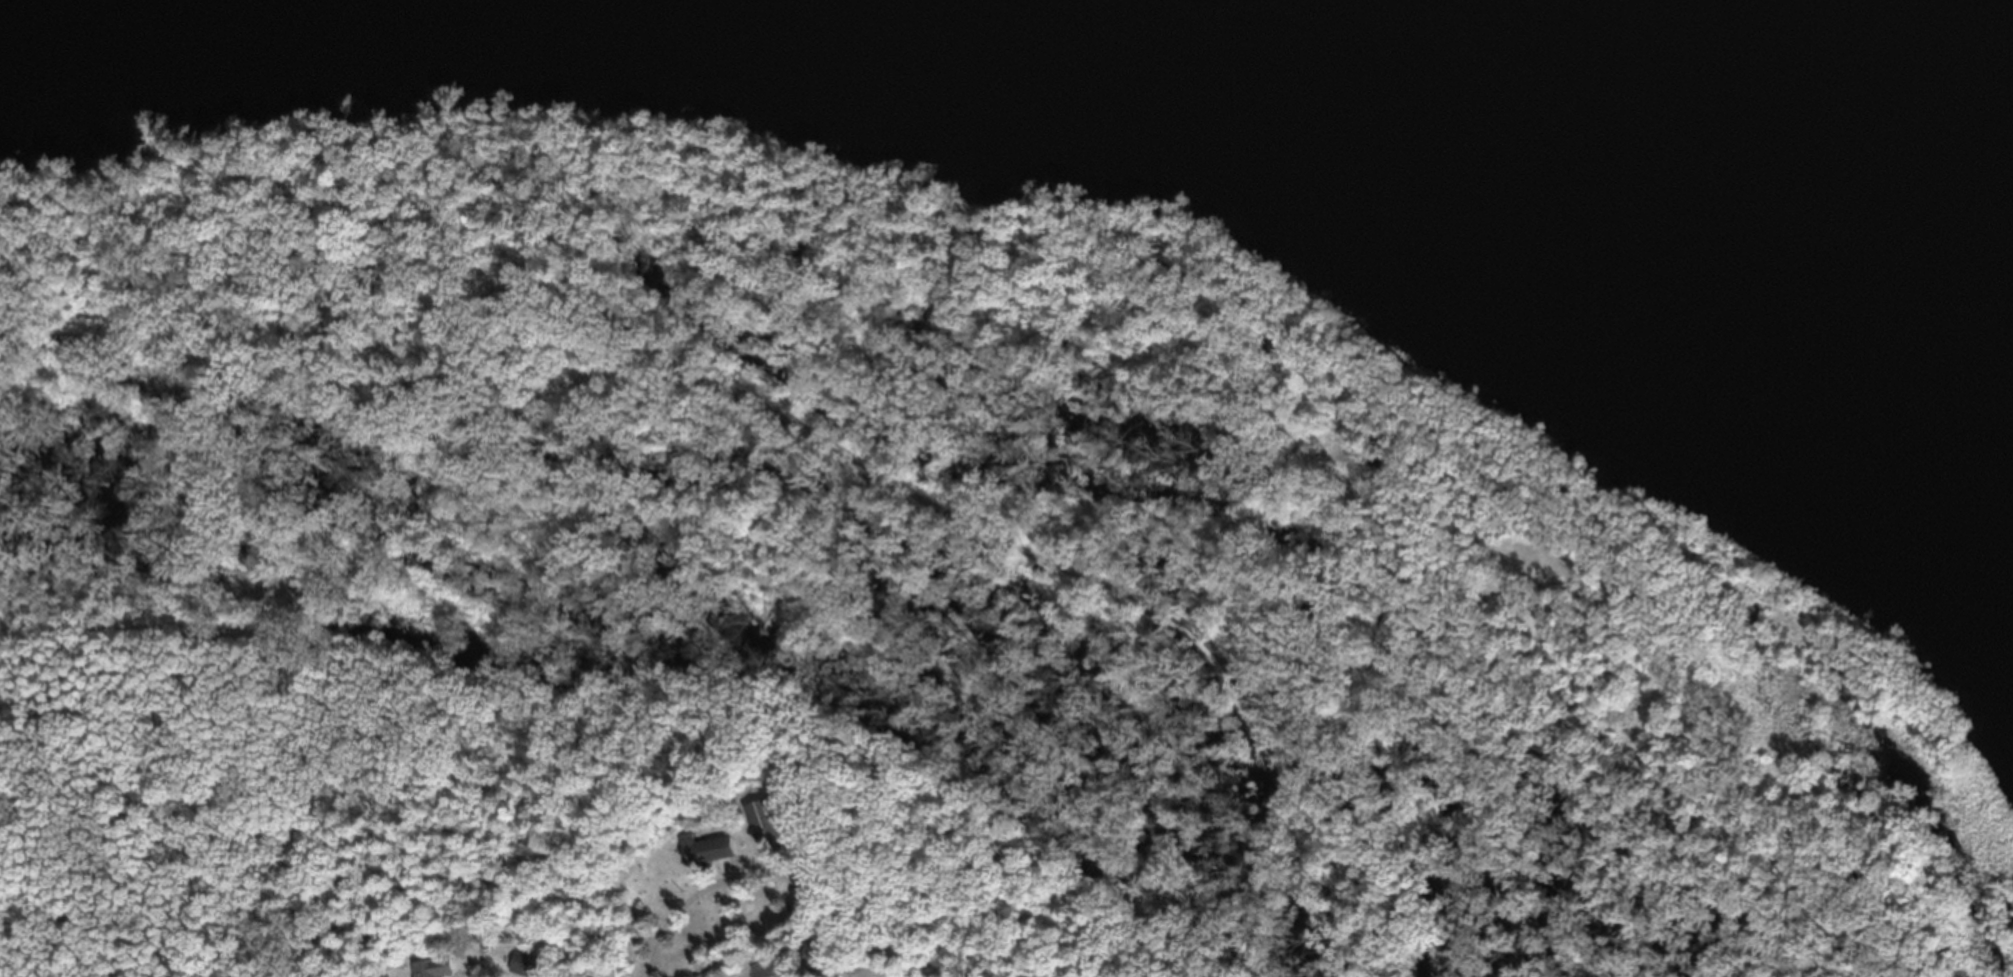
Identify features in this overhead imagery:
river: (1043, 39)
road: (760, 405)
building: (767, 827)
building: (704, 856)
road: (666, 912)
road: (481, 965)
building: (431, 971)
building: (766, 971)
road: (594, 975)

